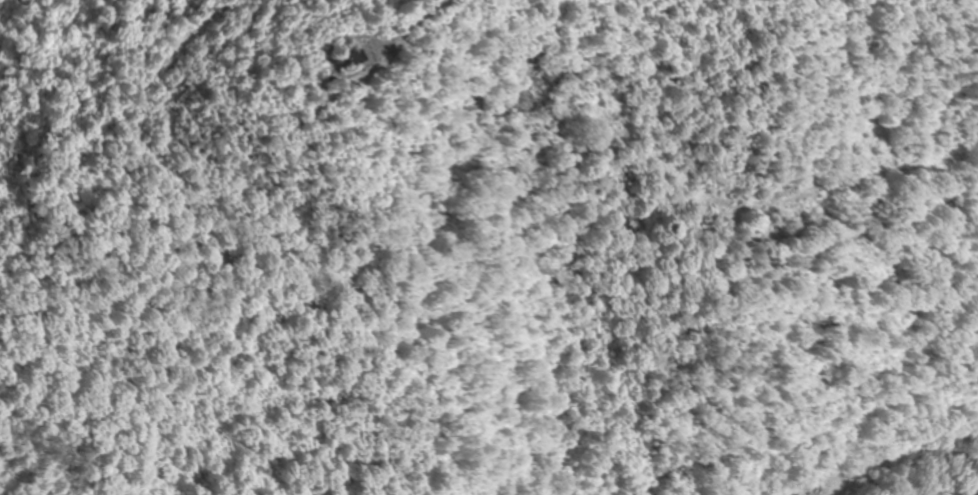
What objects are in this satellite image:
road: (824, 244)

